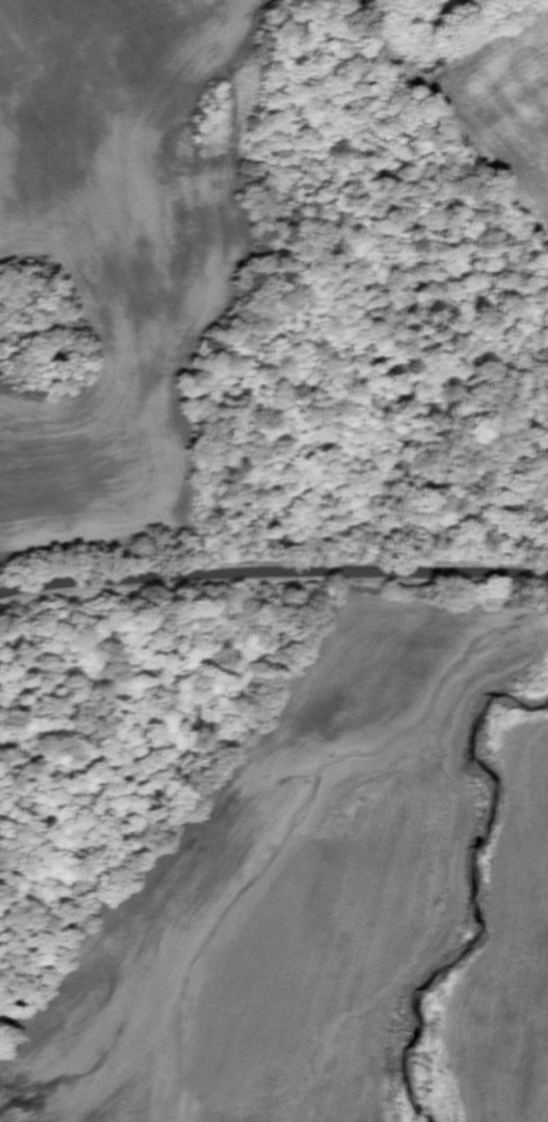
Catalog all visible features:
road: (272, 571)

